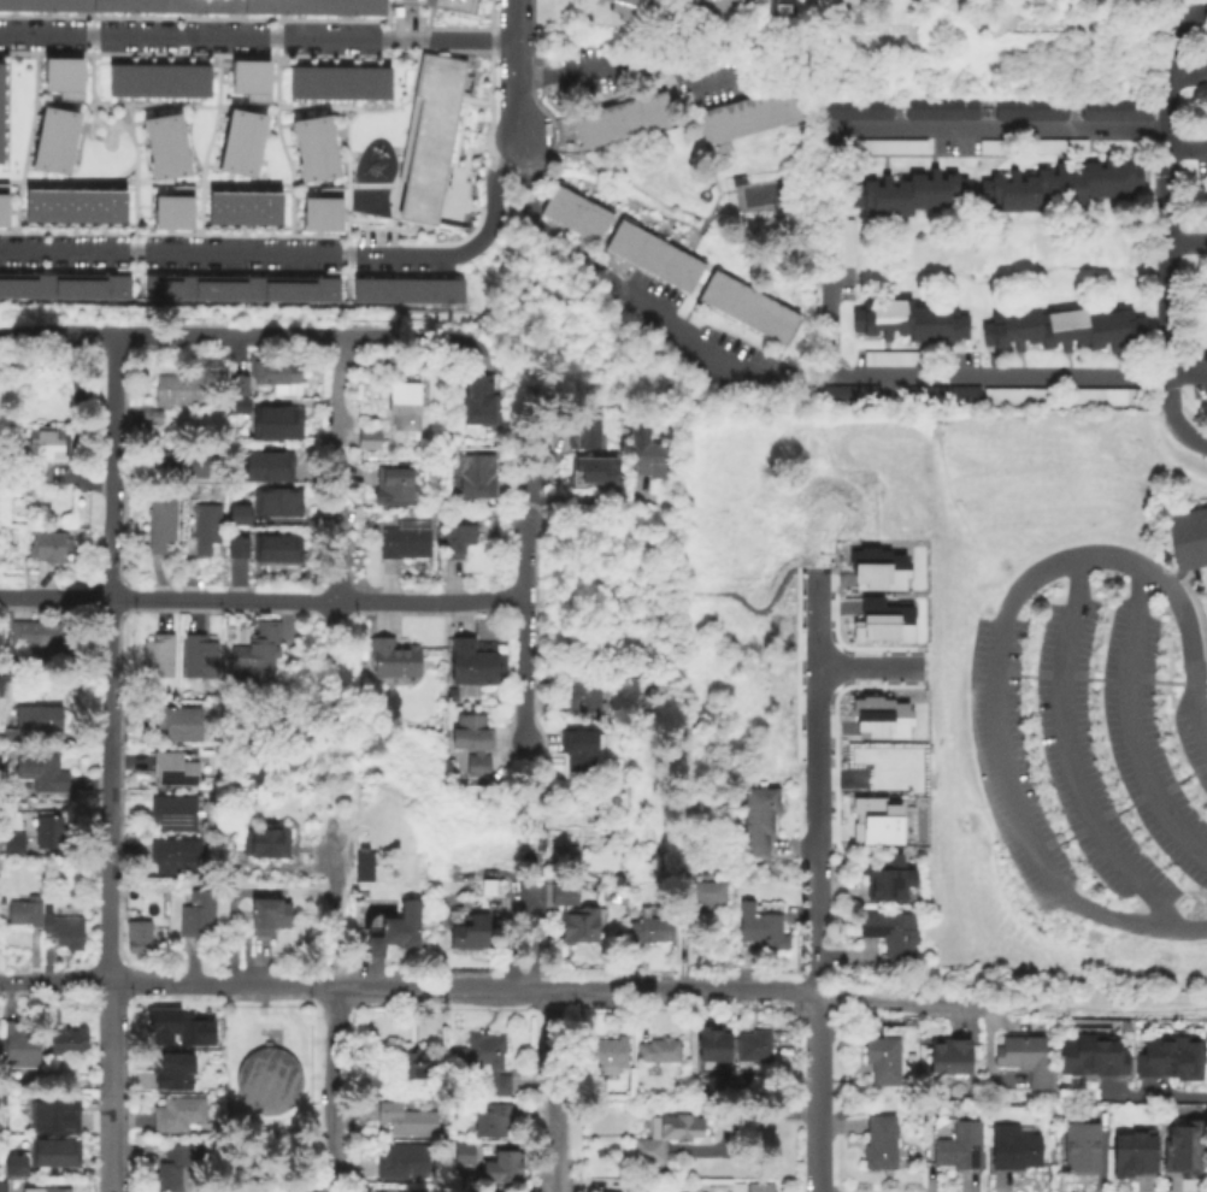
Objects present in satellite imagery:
building: (660, 0)
building: (838, 1)
building: (455, 2)
building: (6, 6)
building: (49, 6)
building: (124, 6)
building: (200, 6)
building: (276, 7)
building: (349, 7)
building: (626, 7)
building: (711, 7)
building: (781, 12)
road: (255, 36)
road: (631, 66)
road: (512, 69)
road: (1187, 71)
building: (61, 76)
building: (249, 78)
building: (157, 79)
building: (337, 82)
building: (0, 96)
building: (1115, 110)
building: (855, 111)
building: (940, 111)
building: (1029, 111)
building: (750, 116)
building: (622, 120)
building: (54, 123)
building: (160, 130)
building: (308, 132)
building: (429, 134)
building: (240, 141)
building: (1031, 147)
building: (891, 148)
road: (1185, 152)
building: (48, 154)
building: (165, 160)
building: (313, 163)
road: (513, 173)
road: (1164, 179)
building: (1061, 187)
building: (909, 195)
building: (2, 203)
building: (72, 205)
building: (243, 207)
building: (173, 208)
building: (322, 211)
building: (575, 214)
building: (844, 243)
road: (1185, 243)
road: (296, 252)
building: (653, 256)
road: (834, 273)
building: (0, 284)
building: (34, 285)
building: (100, 285)
building: (177, 285)
building: (242, 287)
building: (307, 288)
road: (614, 289)
building: (379, 290)
building: (435, 290)
building: (747, 308)
road: (426, 312)
building: (909, 321)
building: (1061, 330)
road: (240, 337)
road: (482, 354)
building: (890, 360)
building: (273, 370)
building: (236, 386)
building: (181, 391)
building: (847, 395)
building: (942, 397)
building: (1061, 400)
building: (479, 403)
building: (236, 406)
building: (402, 406)
road: (129, 407)
road: (336, 411)
building: (149, 418)
road: (1173, 419)
building: (276, 424)
building: (582, 430)
road: (345, 441)
building: (367, 441)
building: (45, 445)
building: (644, 450)
building: (186, 465)
building: (269, 467)
building: (590, 471)
road: (82, 477)
building: (475, 477)
road: (536, 478)
building: (394, 486)
road: (575, 502)
building: (277, 503)
building: (237, 515)
building: (159, 526)
building: (202, 530)
building: (1188, 538)
building: (406, 539)
building: (455, 541)
building: (46, 547)
building: (237, 548)
building: (276, 549)
road: (337, 561)
building: (875, 568)
road: (1020, 588)
road: (742, 597)
road: (263, 600)
street lamp: (800, 610)
road: (637, 613)
building: (877, 620)
road: (525, 632)
building: (36, 635)
road: (336, 643)
building: (254, 654)
road: (640, 656)
road: (108, 657)
building: (157, 657)
building: (198, 659)
building: (393, 659)
building: (472, 662)
road: (869, 666)
road: (816, 674)
building: (449, 696)
park: (944, 697)
building: (581, 698)
street lamp: (830, 708)
building: (879, 712)
building: (30, 724)
road: (1130, 724)
building: (177, 726)
building: (471, 744)
building: (577, 751)
road: (1068, 757)
building: (40, 773)
building: (171, 773)
building: (171, 815)
building: (875, 820)
building: (758, 821)
building: (49, 833)
road: (814, 837)
building: (264, 844)
building: (12, 845)
building: (177, 857)
building: (363, 869)
building: (888, 880)
building: (485, 890)
building: (563, 896)
building: (701, 899)
building: (23, 914)
building: (195, 916)
building: (267, 919)
road: (1134, 922)
building: (578, 928)
building: (760, 931)
building: (63, 933)
building: (396, 933)
building: (650, 933)
building: (469, 937)
building: (890, 937)
building: (137, 939)
road: (813, 950)
road: (53, 979)
road: (165, 980)
road: (376, 984)
road: (671, 989)
road: (1008, 1007)
road: (1206, 1008)
road: (332, 1011)
building: (161, 1025)
building: (193, 1027)
road: (107, 1034)
building: (69, 1043)
building: (714, 1046)
building: (19, 1048)
building: (753, 1048)
building: (659, 1052)
building: (605, 1056)
building: (883, 1056)
building: (950, 1056)
building: (1090, 1057)
building: (1025, 1060)
building: (1170, 1060)
building: (483, 1061)
building: (411, 1067)
building: (167, 1068)
building: (731, 1079)
building: (266, 1084)
water tower: (266, 1084)
road: (554, 1090)
road: (814, 1093)
road: (1149, 1096)
building: (177, 1115)
building: (42, 1117)
building: (405, 1121)
building: (493, 1122)
building: (665, 1137)
road: (108, 1140)
building: (879, 1143)
building: (959, 1147)
building: (1013, 1150)
building: (1081, 1150)
building: (1184, 1151)
building: (463, 1153)
building: (53, 1155)
building: (1134, 1156)
building: (402, 1162)
building: (175, 1168)
building: (504, 1168)
building: (13, 1169)
building: (636, 1187)
building: (759, 1187)
building: (1, 1188)
building: (736, 1188)
building: (45, 1191)
building: (390, 1191)

